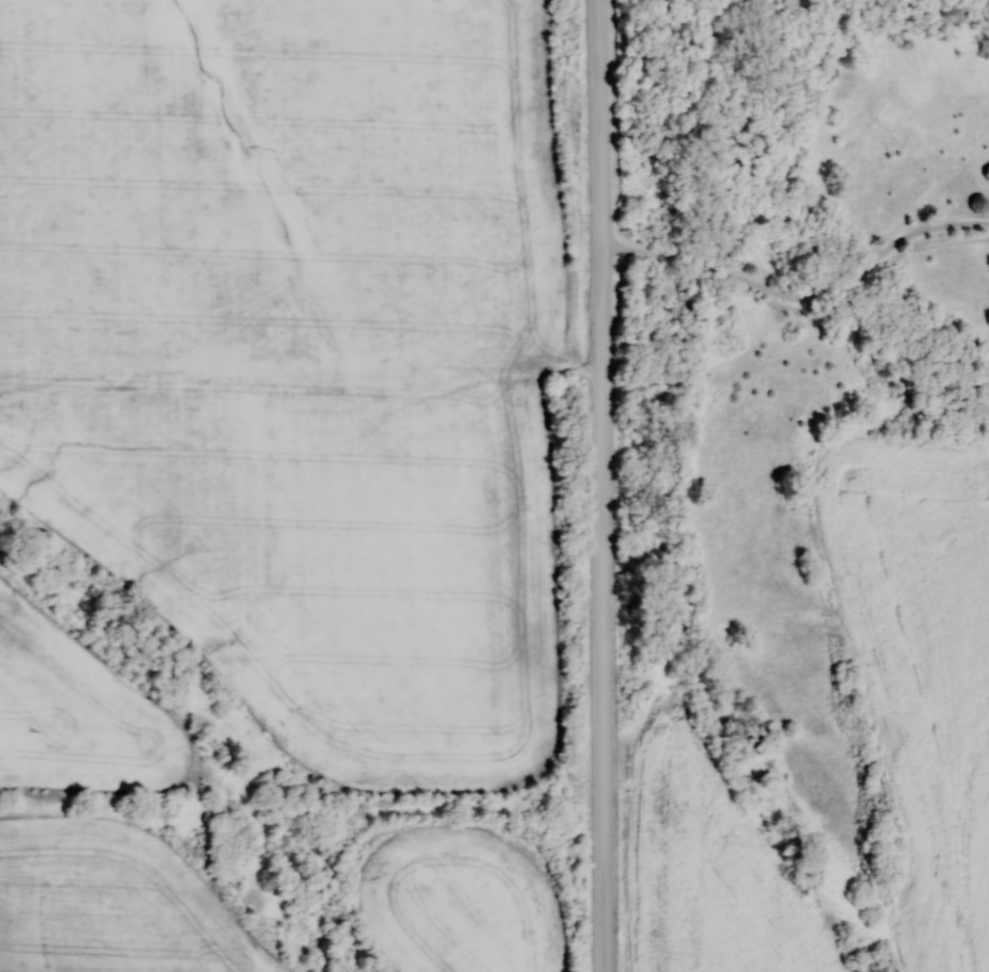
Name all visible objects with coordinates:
road: (802, 298)
road: (604, 485)

